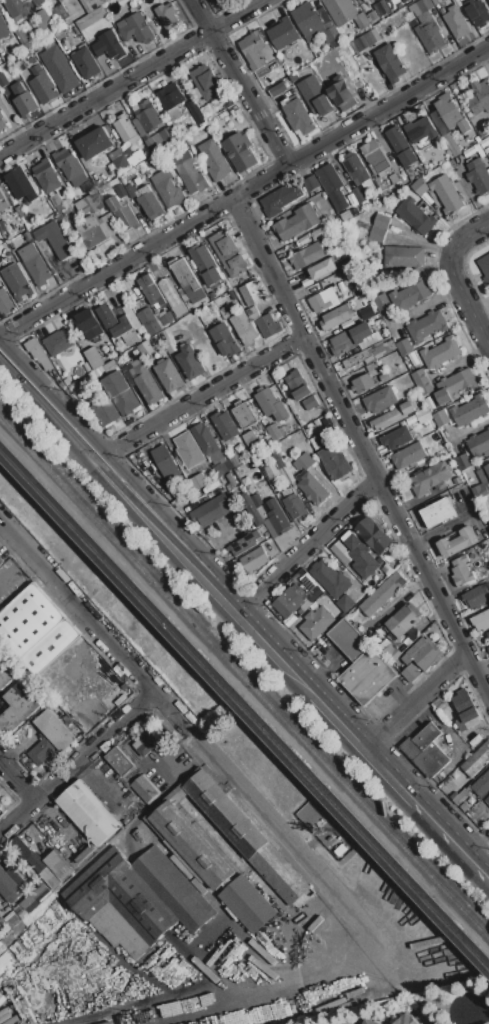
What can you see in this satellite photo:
building: (357, 0)
building: (359, 0)
building: (385, 0)
building: (387, 0)
building: (401, 0)
building: (488, 0)
building: (35, 1)
building: (214, 1)
building: (366, 1)
building: (90, 4)
building: (422, 6)
building: (16, 8)
building: (381, 8)
building: (340, 10)
building: (477, 13)
building: (166, 15)
road: (237, 15)
building: (373, 15)
building: (306, 18)
building: (43, 20)
building: (361, 21)
building: (456, 22)
building: (3, 28)
building: (136, 29)
building: (331, 34)
building: (22, 36)
building: (284, 36)
building: (430, 36)
building: (365, 41)
building: (109, 45)
building: (39, 47)
building: (253, 49)
building: (86, 63)
building: (389, 63)
building: (59, 68)
building: (205, 81)
road: (241, 82)
building: (43, 84)
building: (278, 89)
building: (342, 92)
road: (105, 93)
building: (314, 95)
building: (480, 97)
building: (173, 100)
building: (26, 103)
building: (222, 103)
building: (196, 112)
building: (451, 113)
building: (147, 116)
building: (299, 117)
building: (2, 121)
building: (126, 128)
building: (420, 130)
building: (164, 136)
building: (396, 138)
building: (95, 142)
building: (151, 144)
building: (241, 152)
building: (374, 155)
building: (408, 157)
building: (119, 160)
building: (214, 160)
building: (71, 167)
building: (356, 169)
building: (189, 172)
building: (46, 175)
building: (478, 176)
building: (393, 177)
building: (21, 184)
building: (312, 184)
building: (332, 185)
building: (88, 186)
building: (167, 187)
building: (419, 187)
road: (244, 191)
building: (447, 193)
building: (356, 194)
building: (280, 198)
building: (147, 201)
building: (3, 202)
building: (84, 206)
building: (122, 212)
building: (333, 212)
building: (346, 215)
building: (415, 216)
building: (381, 221)
building: (297, 222)
building: (109, 225)
building: (94, 230)
building: (378, 234)
road: (468, 237)
building: (55, 239)
building: (308, 255)
building: (231, 256)
building: (404, 257)
building: (35, 264)
building: (206, 264)
building: (324, 267)
building: (485, 268)
building: (185, 276)
building: (17, 281)
building: (0, 284)
building: (151, 289)
building: (251, 293)
building: (182, 294)
building: (410, 295)
building: (172, 297)
building: (322, 300)
road: (466, 300)
building: (5, 301)
building: (382, 302)
building: (251, 310)
building: (367, 312)
building: (254, 316)
building: (337, 316)
building: (167, 319)
building: (149, 321)
building: (117, 324)
building: (268, 325)
building: (87, 326)
building: (426, 326)
building: (244, 327)
building: (352, 337)
building: (224, 338)
building: (58, 341)
building: (404, 347)
building: (145, 348)
building: (381, 350)
building: (38, 353)
building: (441, 353)
building: (94, 356)
building: (358, 357)
building: (190, 361)
building: (168, 374)
building: (146, 381)
building: (422, 382)
building: (456, 382)
building: (363, 383)
building: (298, 384)
building: (120, 392)
road: (206, 394)
building: (380, 399)
building: (310, 402)
building: (271, 404)
building: (469, 410)
building: (105, 411)
building: (244, 414)
building: (423, 414)
road: (48, 415)
building: (393, 416)
building: (440, 418)
building: (328, 421)
building: (225, 425)
building: (257, 430)
building: (249, 437)
building: (397, 438)
building: (318, 440)
building: (478, 443)
building: (208, 444)
road: (361, 445)
building: (188, 450)
building: (408, 455)
building: (164, 459)
building: (235, 459)
building: (303, 461)
building: (335, 461)
building: (463, 461)
building: (271, 468)
road: (125, 470)
building: (483, 473)
building: (287, 474)
building: (430, 478)
building: (198, 481)
building: (312, 488)
building: (477, 492)
building: (292, 504)
building: (212, 509)
building: (252, 509)
building: (439, 511)
building: (272, 512)
building: (375, 535)
road: (167, 540)
building: (245, 542)
building: (457, 542)
road: (308, 544)
building: (356, 555)
building: (254, 559)
building: (0, 563)
building: (387, 569)
building: (462, 571)
building: (330, 578)
building: (476, 595)
building: (384, 596)
building: (298, 598)
building: (345, 603)
building: (336, 612)
building: (481, 621)
building: (317, 622)
building: (403, 622)
road: (96, 623)
building: (36, 628)
building: (488, 634)
road: (272, 647)
building: (488, 648)
building: (391, 652)
building: (423, 653)
building: (361, 664)
building: (411, 672)
building: (5, 676)
railway: (244, 679)
building: (118, 697)
railway: (244, 697)
road: (417, 698)
building: (18, 707)
railway: (244, 710)
building: (465, 710)
building: (50, 737)
road: (360, 740)
building: (148, 741)
building: (427, 750)
building: (477, 760)
road: (78, 761)
building: (119, 761)
road: (18, 779)
building: (482, 785)
building: (144, 788)
building: (463, 795)
building: (487, 800)
building: (0, 802)
building: (464, 806)
building: (89, 812)
building: (323, 829)
road: (452, 835)
building: (181, 837)
road: (478, 844)
building: (28, 854)
building: (59, 864)
building: (50, 877)
building: (7, 886)
building: (137, 899)
building: (0, 901)
building: (29, 902)
building: (247, 903)
building: (20, 911)
building: (11, 919)
building: (3, 926)
road: (355, 959)
road: (481, 1015)
building: (406, 1020)
building: (370, 1021)
building: (107, 1022)

